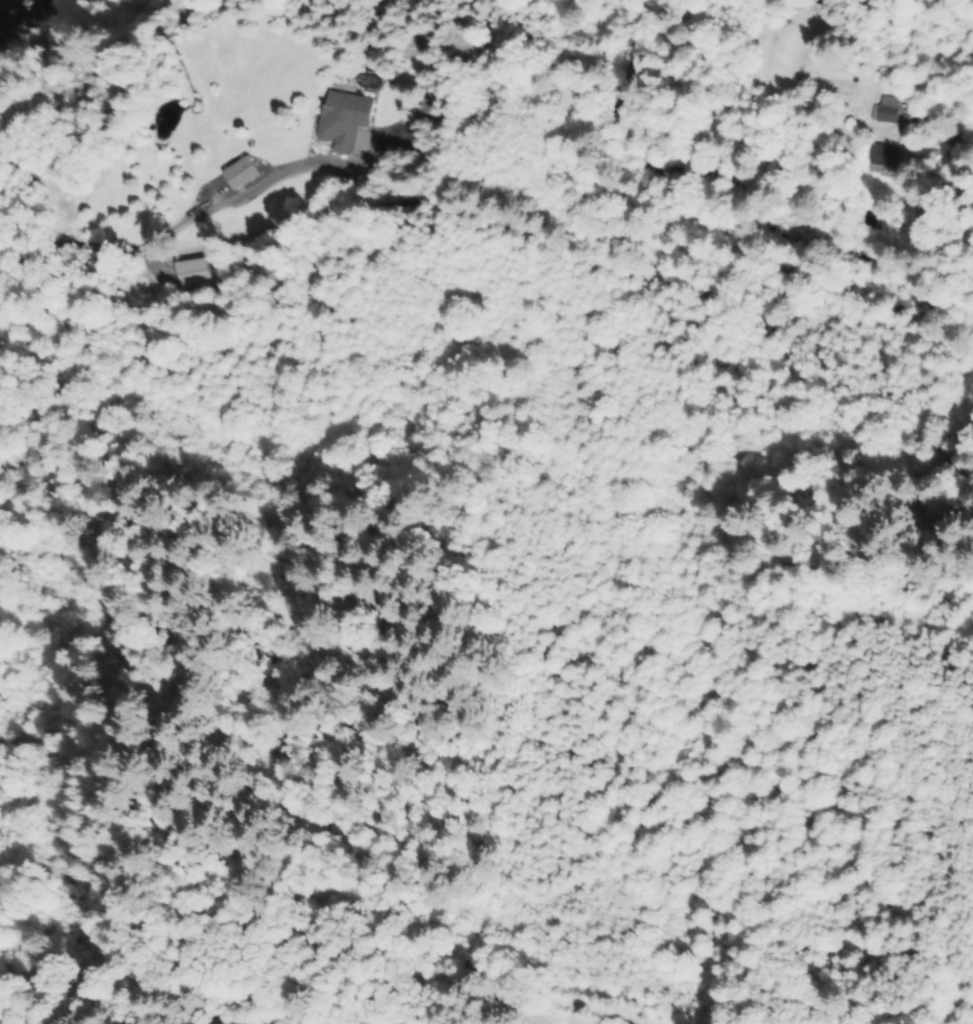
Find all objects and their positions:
river: (53, 27)
building: (884, 114)
building: (350, 121)
building: (880, 155)
building: (246, 170)
road: (373, 211)

